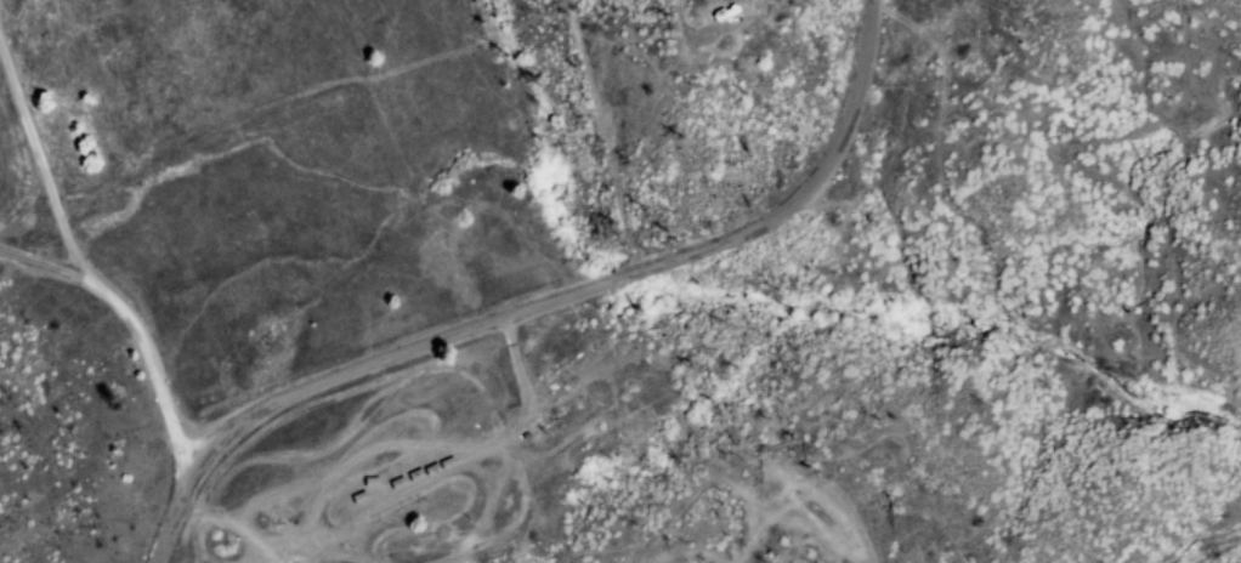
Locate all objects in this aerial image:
road: (692, 30)
road: (302, 91)
road: (1219, 211)
road: (80, 268)
road: (585, 289)
road: (518, 478)
road: (170, 518)

